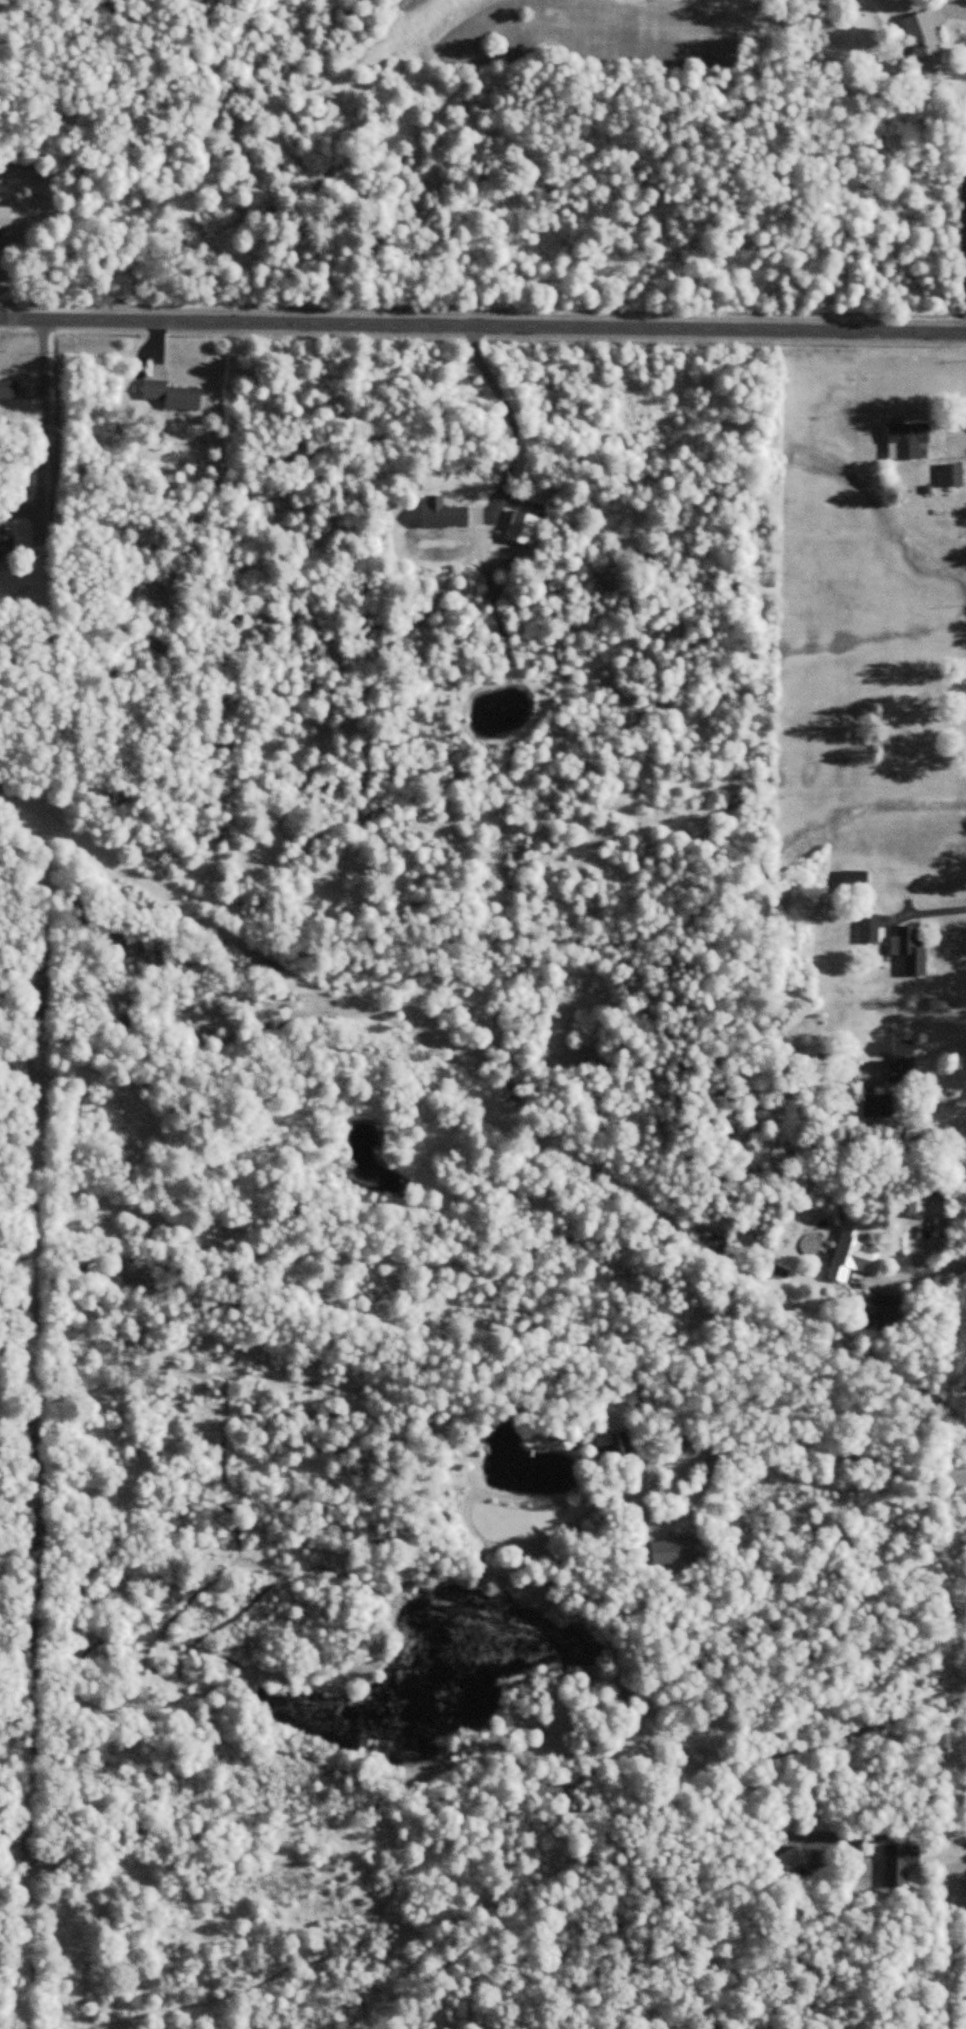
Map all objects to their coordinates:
building: (924, 42)
building: (6, 219)
road: (482, 328)
building: (8, 391)
building: (173, 396)
road: (509, 415)
road: (45, 423)
building: (907, 442)
building: (445, 518)
building: (6, 549)
building: (855, 880)
building: (869, 930)
building: (904, 1059)
building: (853, 1253)
road: (923, 1276)
building: (879, 1309)
building: (682, 1440)
building: (616, 1446)
road: (826, 1451)
building: (672, 1552)
building: (702, 1716)
building: (550, 1792)
building: (900, 1865)

